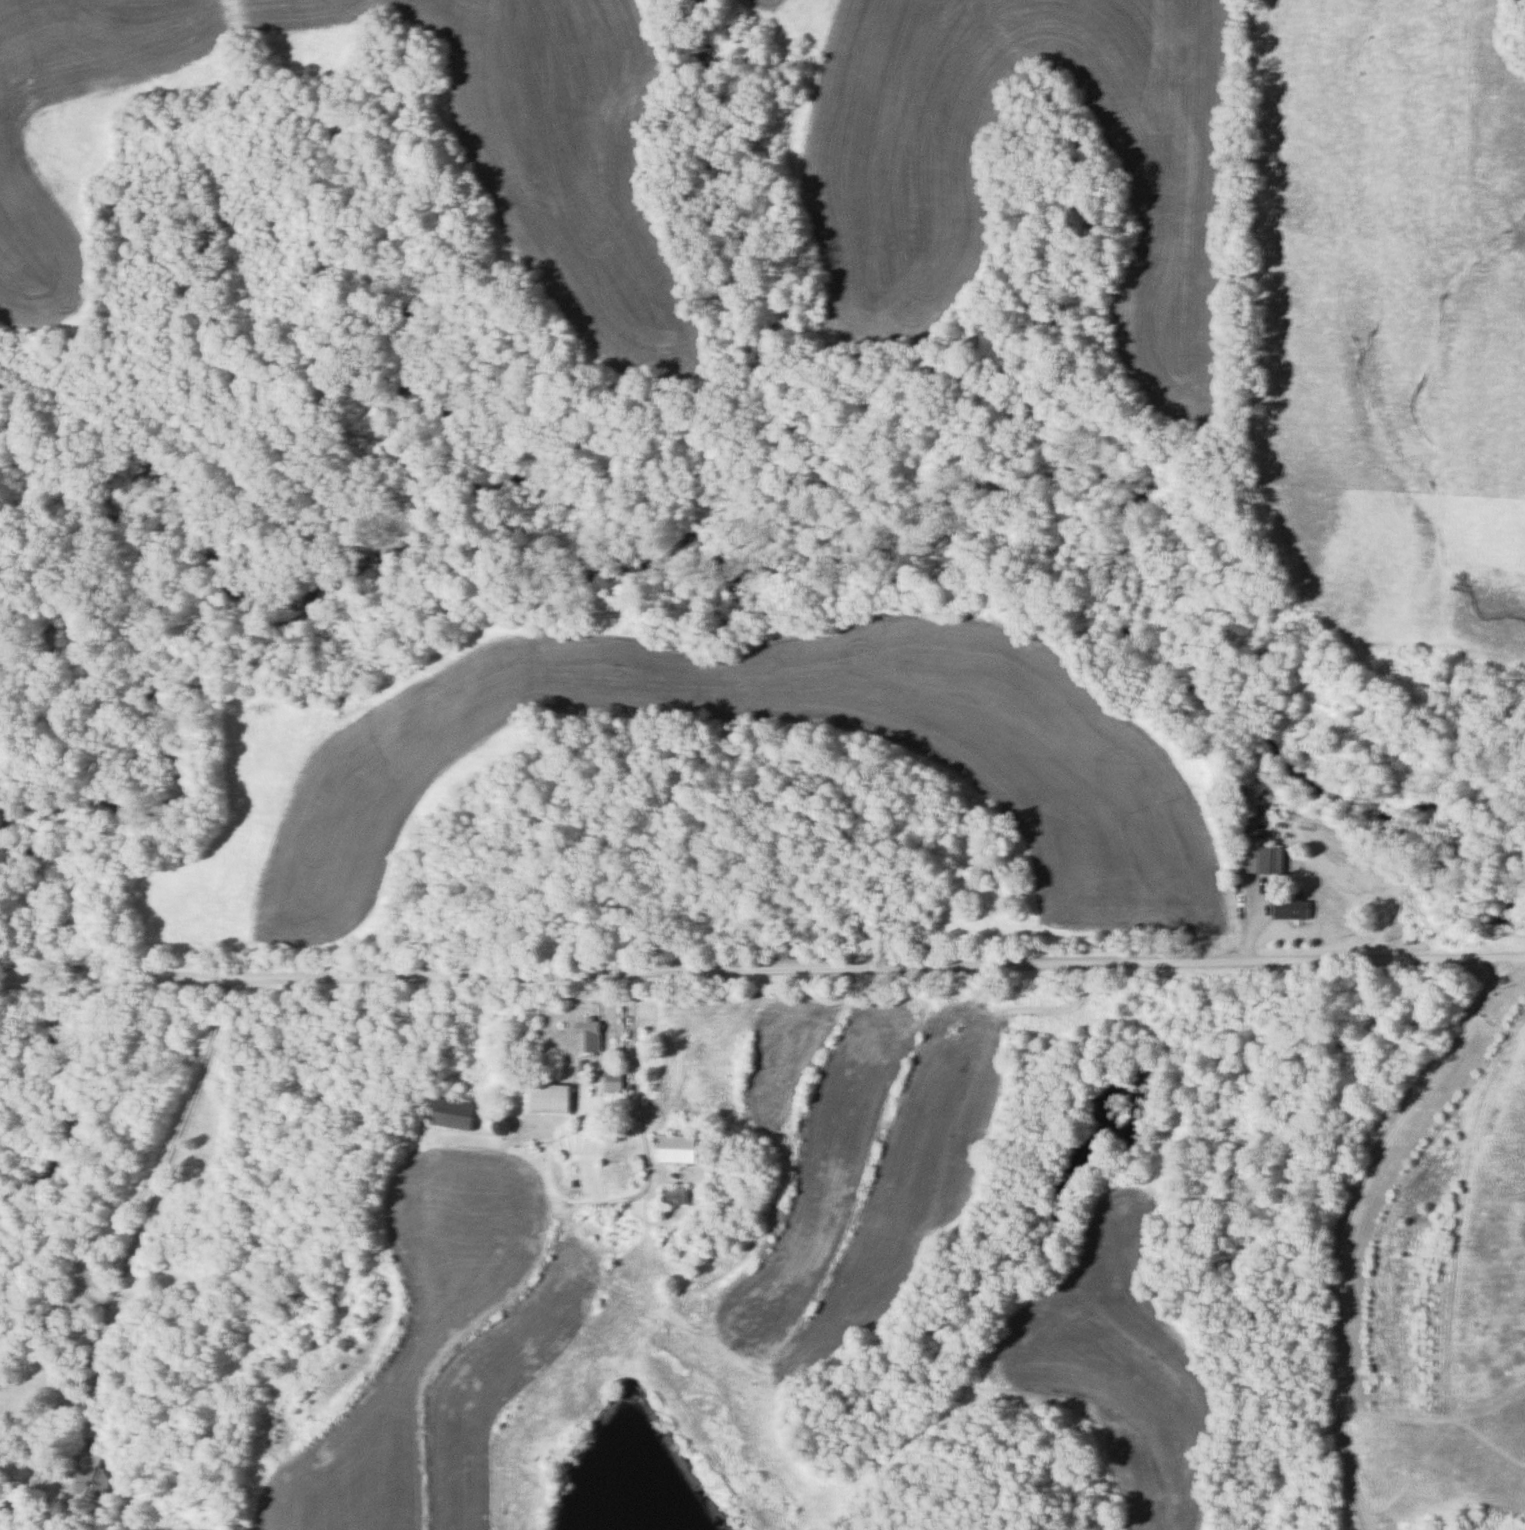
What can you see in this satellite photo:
building: (1268, 860)
building: (1293, 910)
road: (760, 960)
building: (592, 1034)
road: (638, 1051)
building: (614, 1082)
building: (551, 1098)
building: (455, 1114)
building: (502, 1125)
building: (686, 1149)
building: (677, 1196)
road: (1345, 1224)
road: (147, 1229)
building: (90, 1276)
building: (100, 1383)
building: (91, 1473)

